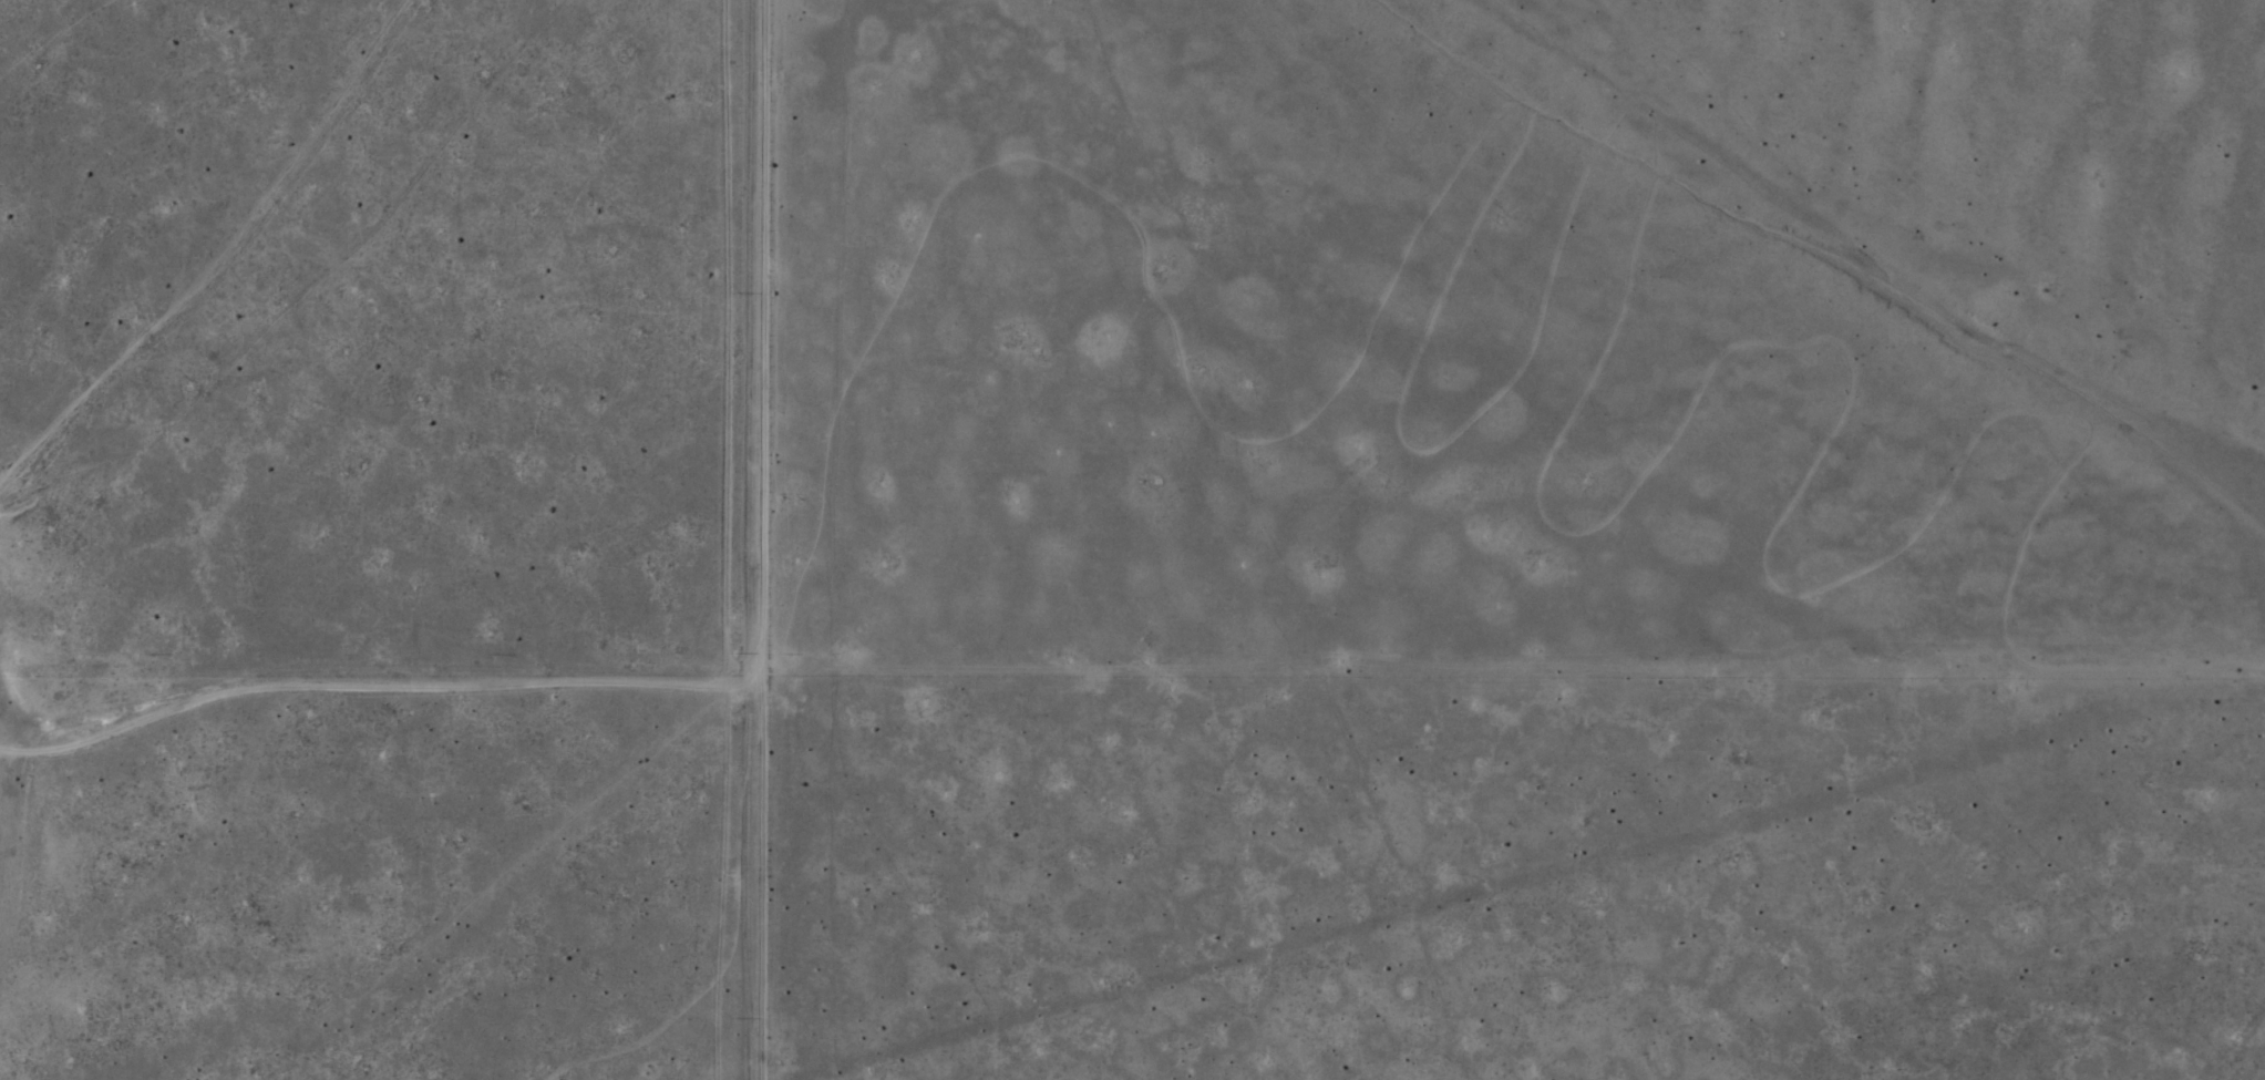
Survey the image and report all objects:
road: (724, 539)
road: (358, 665)
road: (662, 864)

